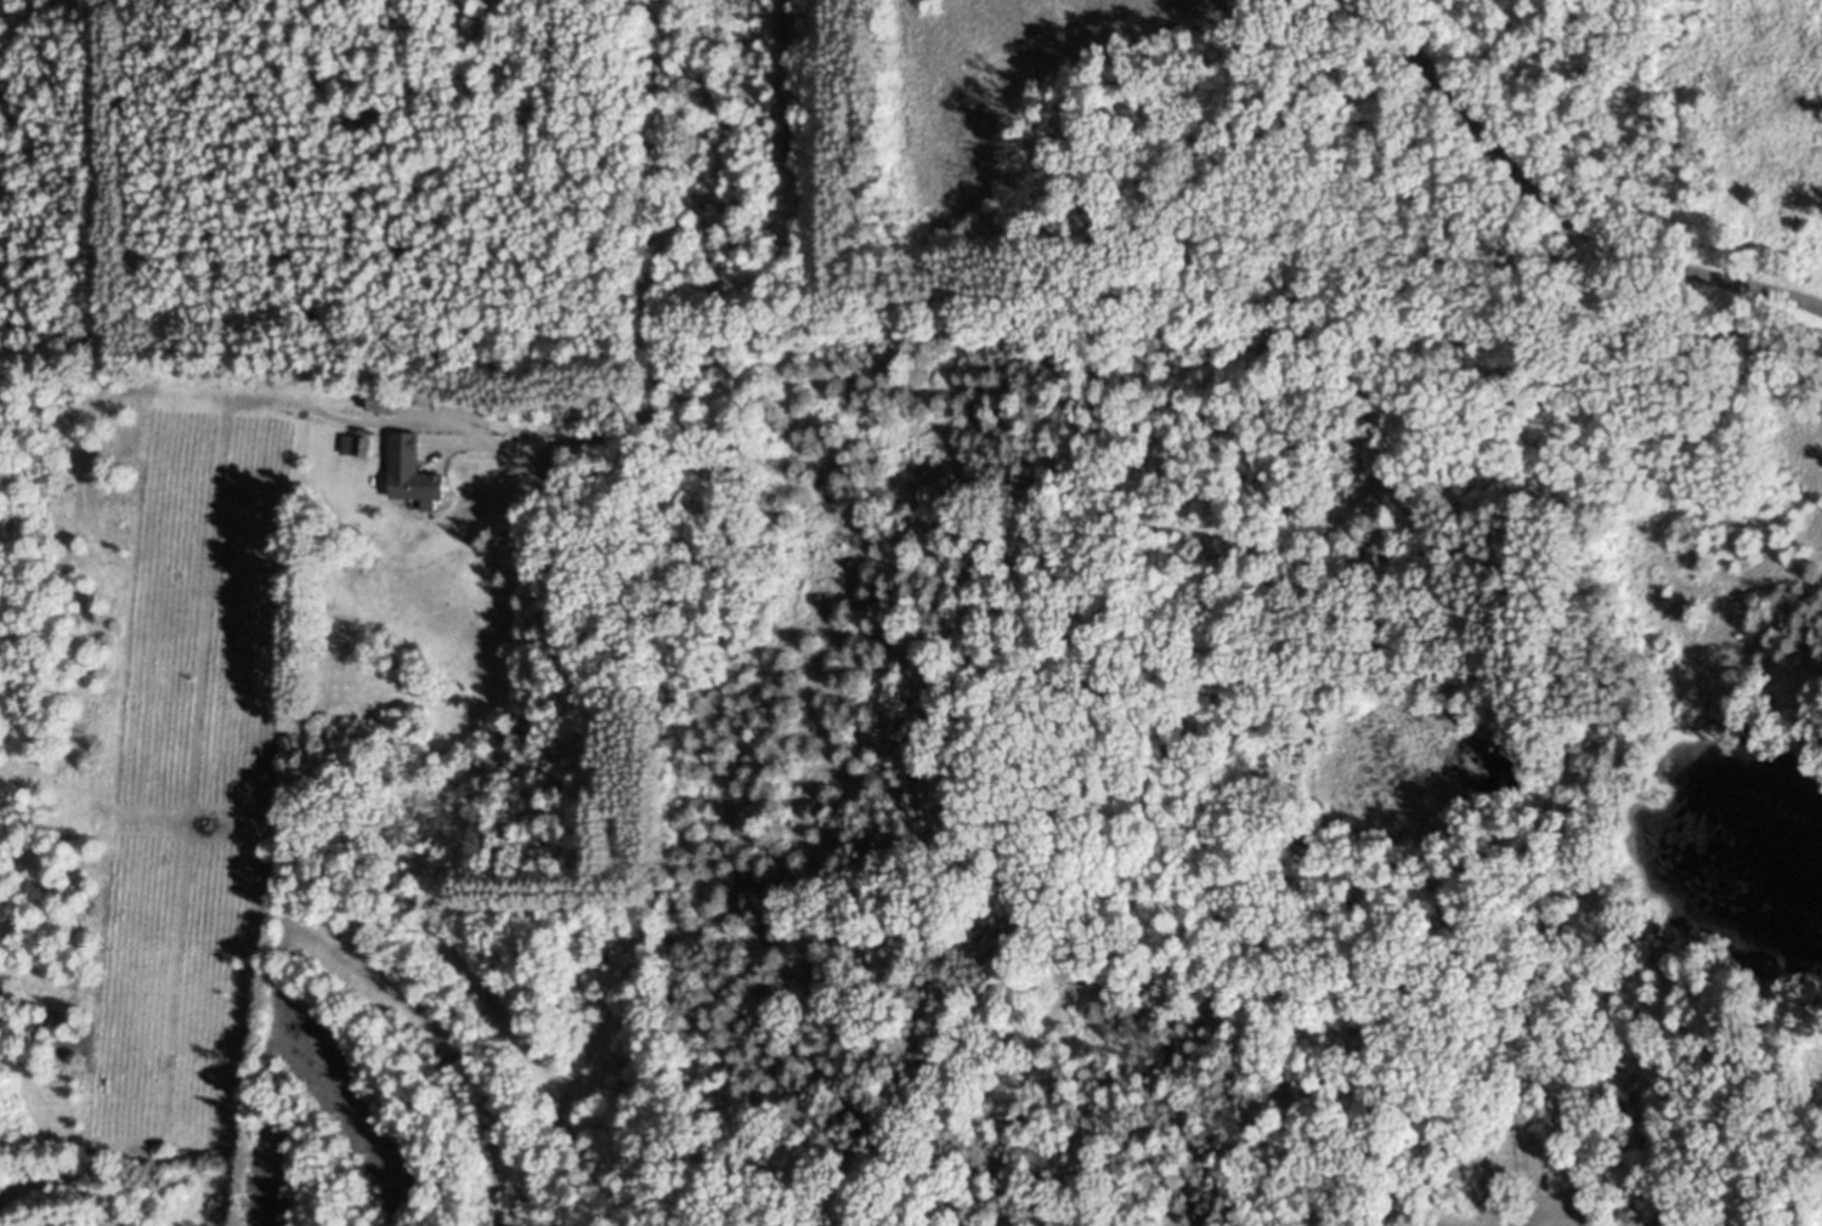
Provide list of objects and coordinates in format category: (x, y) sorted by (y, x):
road: (1611, 36)
crop: (984, 85)
road: (794, 108)
road: (1556, 210)
road: (664, 384)
building: (390, 407)
building: (426, 490)

